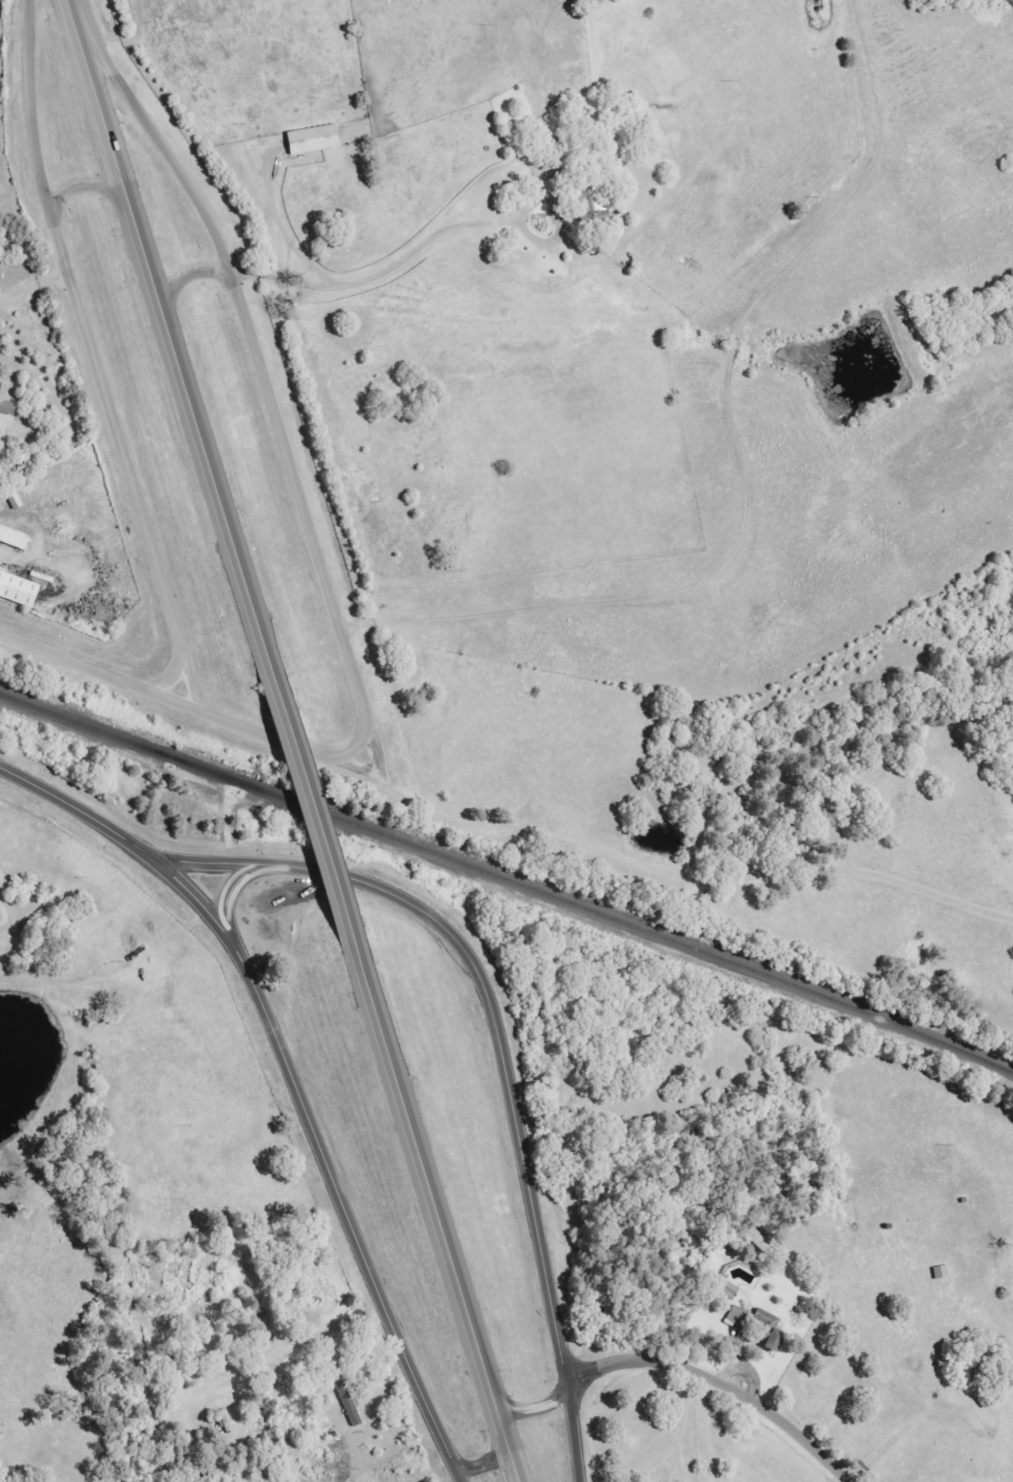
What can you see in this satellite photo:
road: (28, 108)
building: (315, 140)
road: (165, 146)
road: (82, 187)
building: (586, 191)
road: (25, 211)
park: (320, 230)
road: (401, 260)
road: (191, 276)
road: (171, 330)
building: (6, 402)
road: (735, 455)
road: (128, 462)
building: (14, 537)
building: (19, 590)
road: (325, 591)
road: (174, 660)
road: (99, 674)
road: (312, 798)
road: (82, 812)
road: (670, 868)
railway: (507, 881)
road: (240, 885)
road: (497, 1001)
road: (322, 1153)
road: (440, 1207)
building: (758, 1239)
building: (730, 1290)
building: (741, 1317)
building: (772, 1329)
road: (719, 1383)
building: (351, 1404)
road: (535, 1410)
road: (680, 1422)
road: (573, 1436)
road: (487, 1462)
road: (462, 1473)

